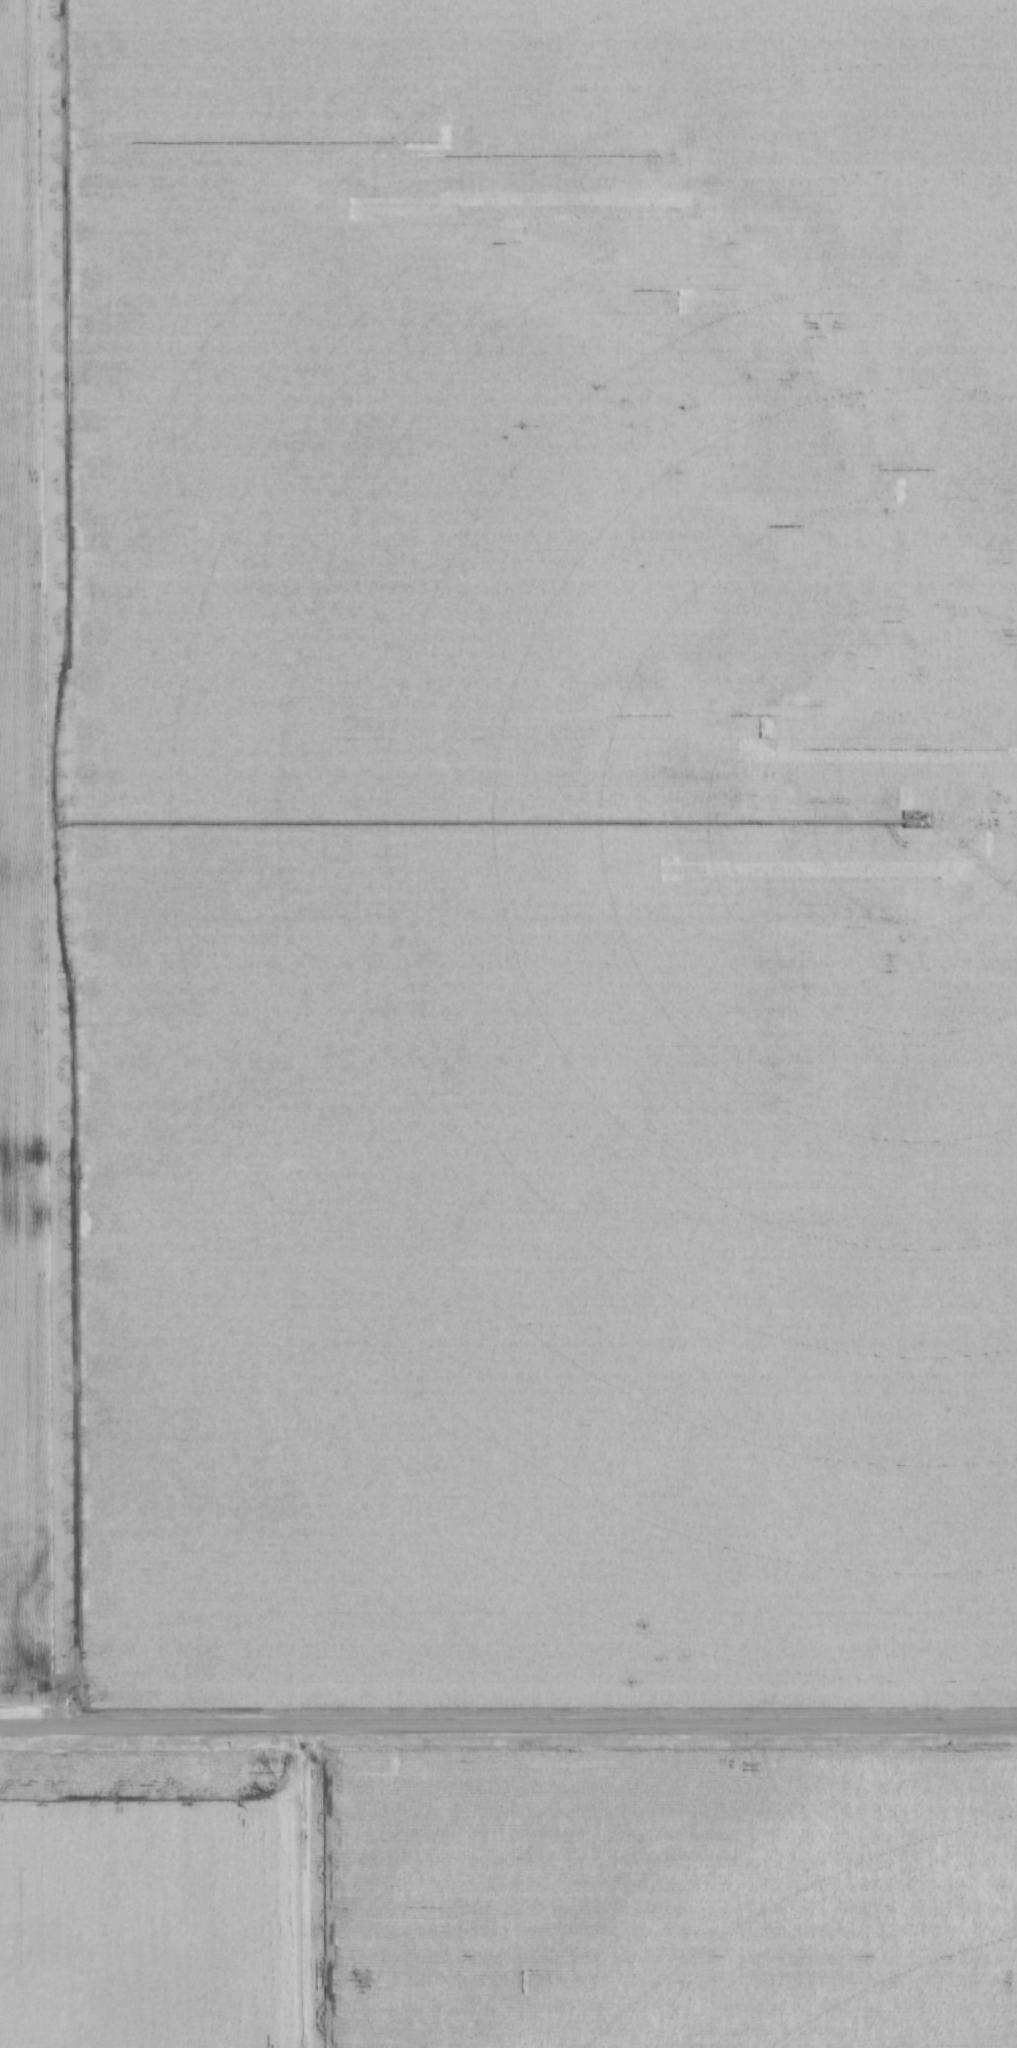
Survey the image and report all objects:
road: (508, 1731)

